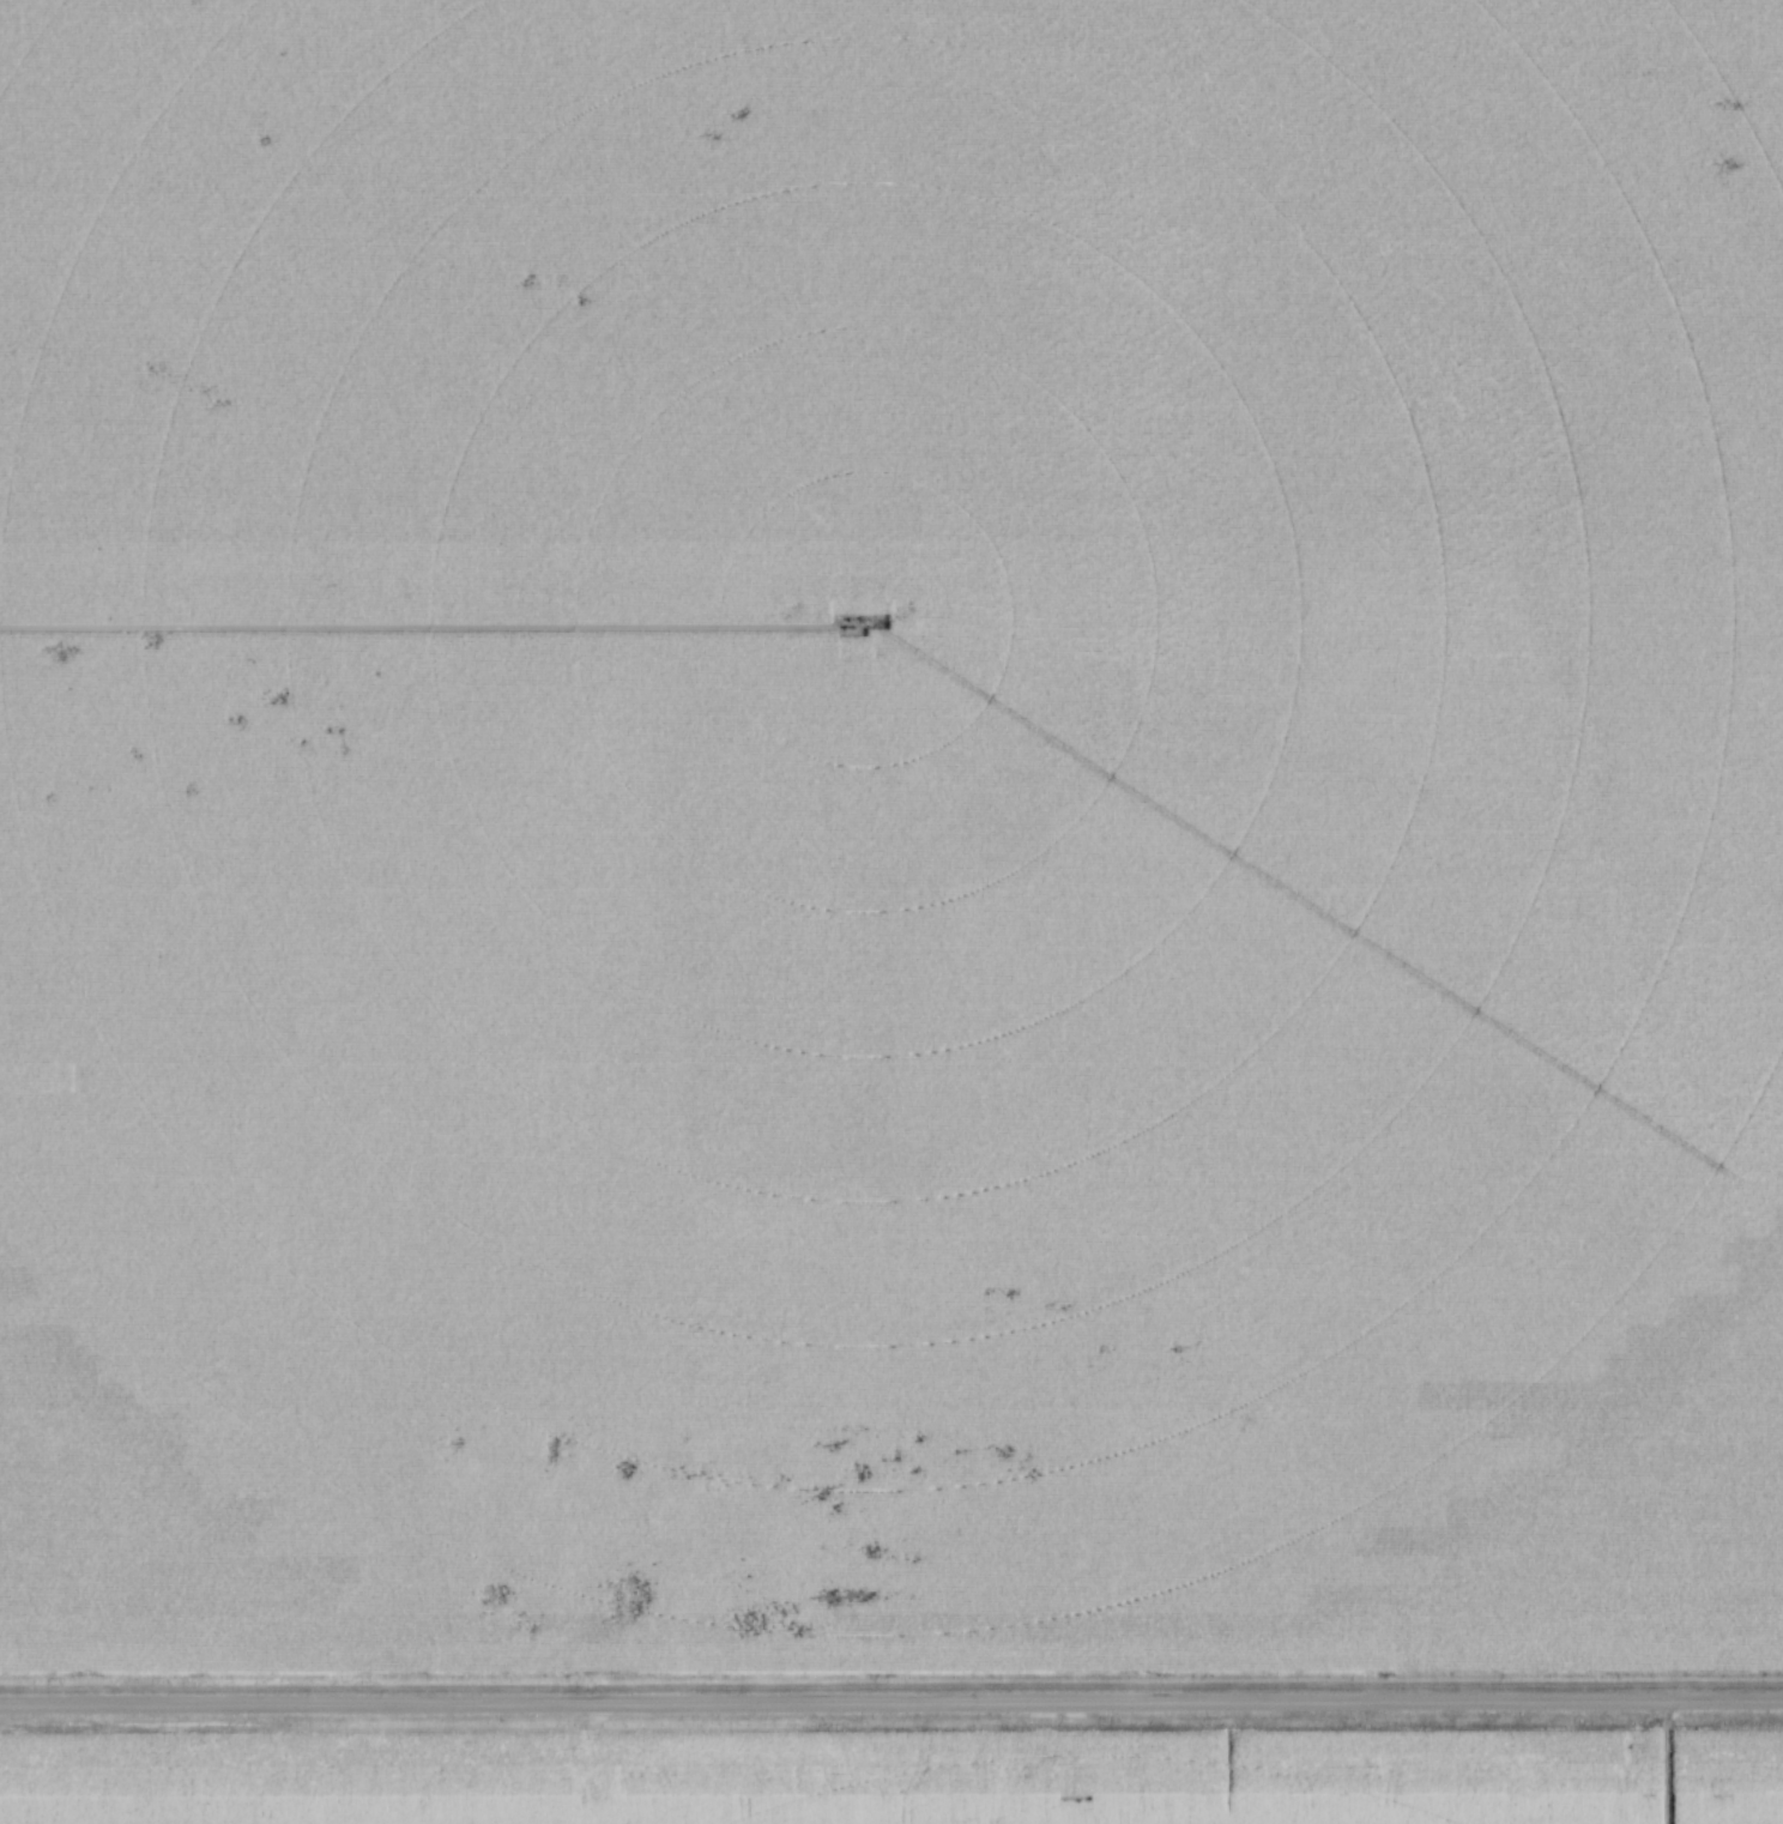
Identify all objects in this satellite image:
road: (891, 1703)

